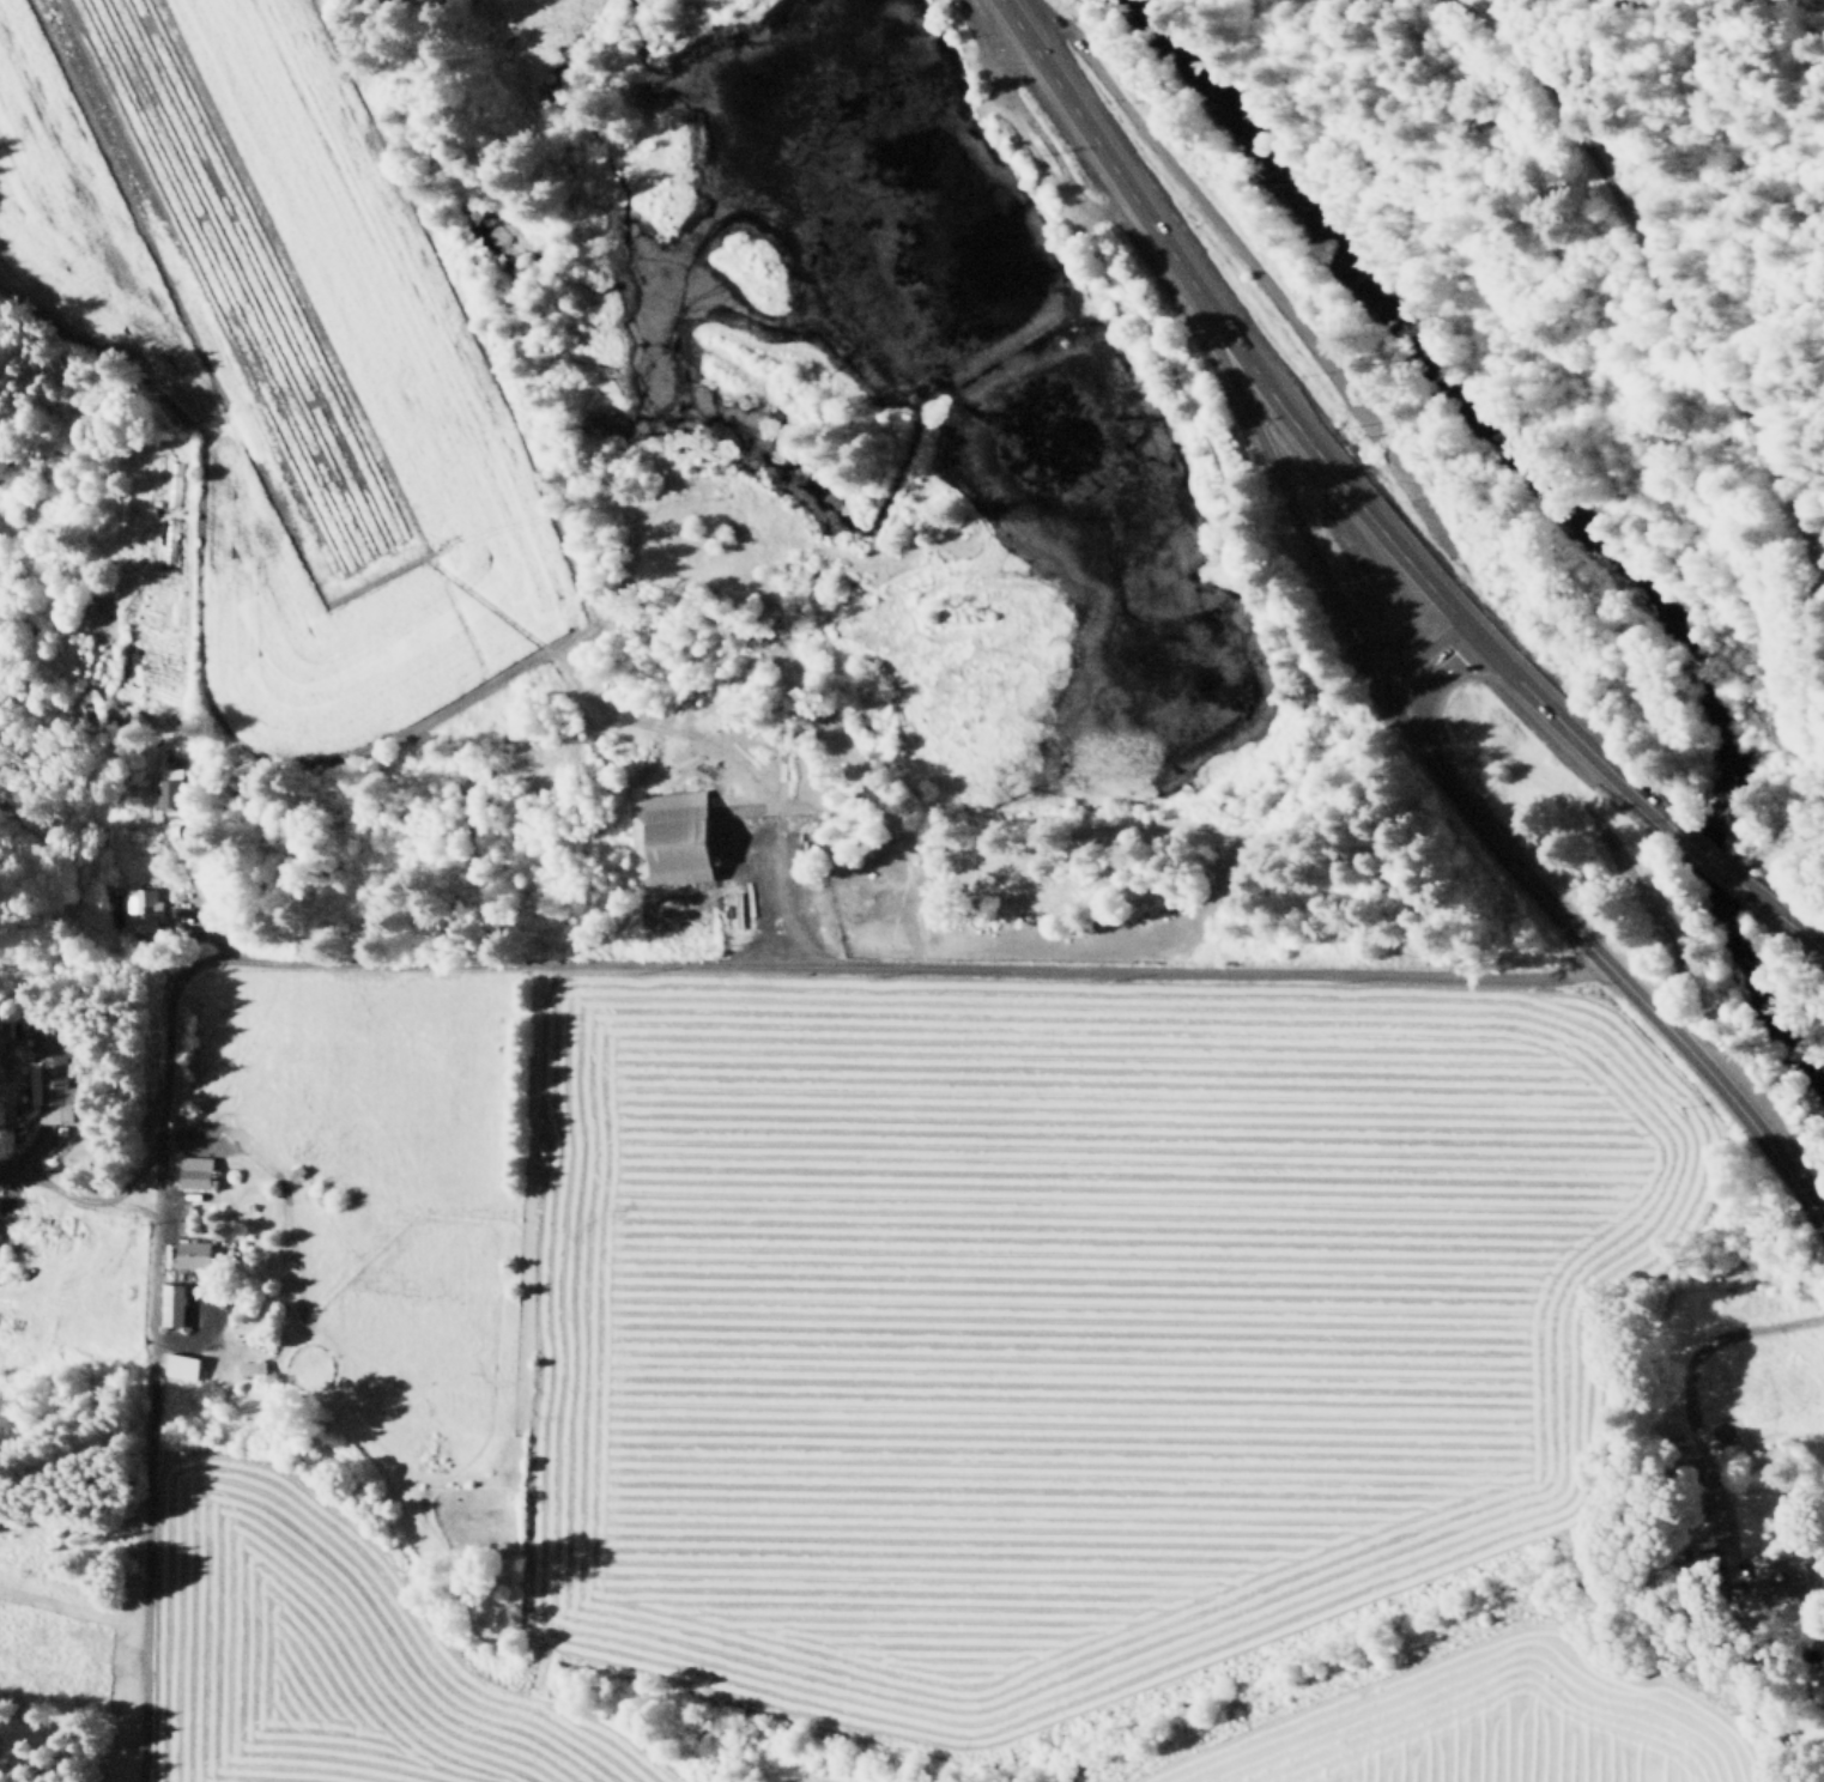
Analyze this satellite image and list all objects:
road: (990, 99)
road: (1083, 122)
road: (1048, 141)
road: (1035, 157)
road: (1210, 211)
crop: (271, 351)
road: (1711, 358)
road: (1309, 440)
building: (713, 463)
road: (1283, 486)
river: (1553, 516)
road: (122, 605)
road: (1416, 665)
road: (584, 683)
road: (1567, 727)
road: (717, 741)
building: (168, 789)
building: (668, 836)
road: (1497, 843)
building: (713, 856)
silo: (713, 856)
road: (1722, 867)
road: (186, 869)
road: (472, 884)
building: (105, 891)
building: (140, 909)
road: (1798, 928)
road: (484, 957)
road: (1719, 1080)
building: (50, 1081)
road: (16, 1162)
building: (195, 1168)
road: (89, 1196)
road: (172, 1199)
road: (133, 1201)
building: (127, 1232)
building: (201, 1251)
building: (169, 1301)
crop: (1052, 1322)
road: (195, 1326)
road: (220, 1340)
building: (181, 1363)
building: (248, 1363)
building: (268, 1378)
road: (1690, 1401)
building: (1686, 1466)
building: (1790, 1572)
crop: (320, 1659)
crop: (1473, 1723)
crop: (781, 1778)

